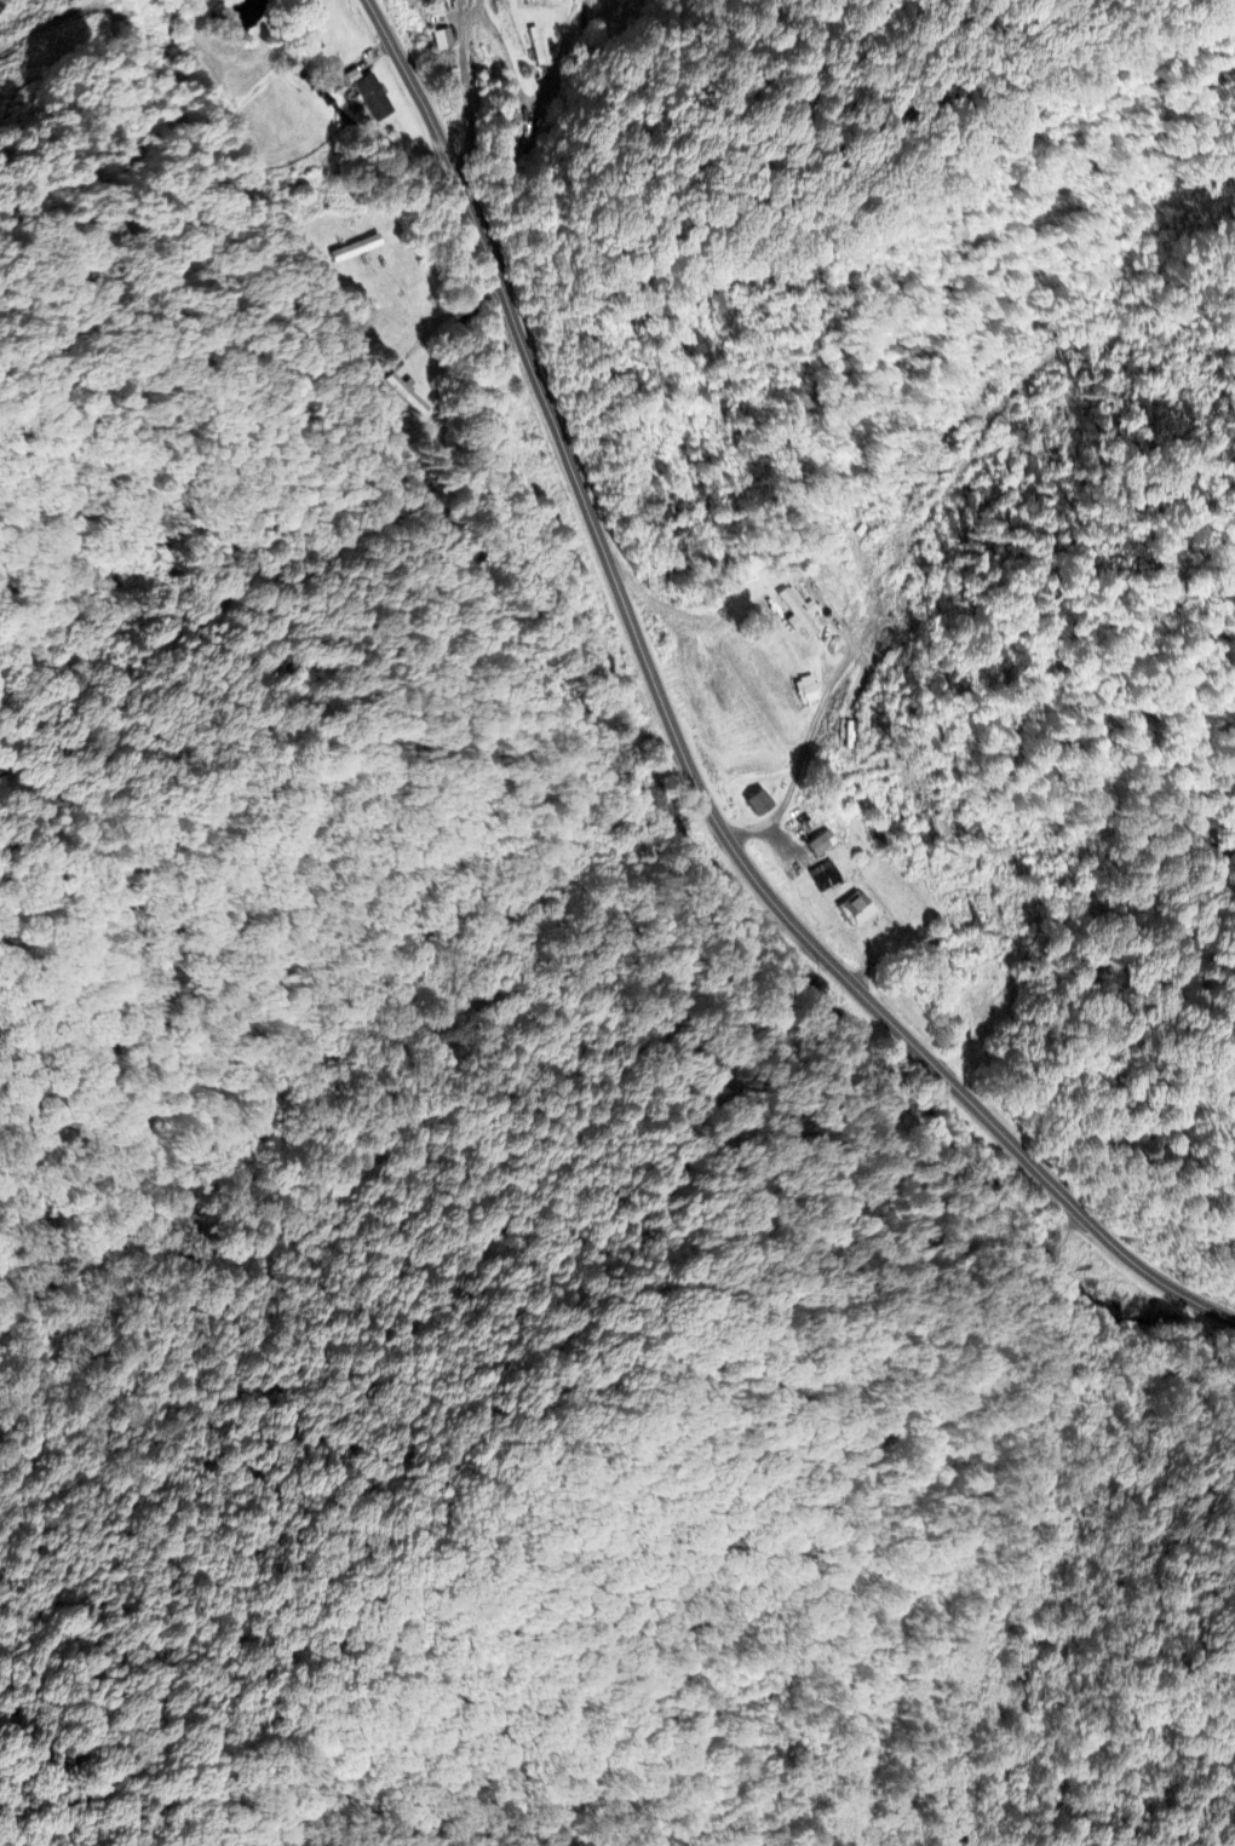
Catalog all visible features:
road: (546, 407)
road: (960, 1086)
road: (394, 1123)
road: (1234, 1318)
road: (4, 1804)

